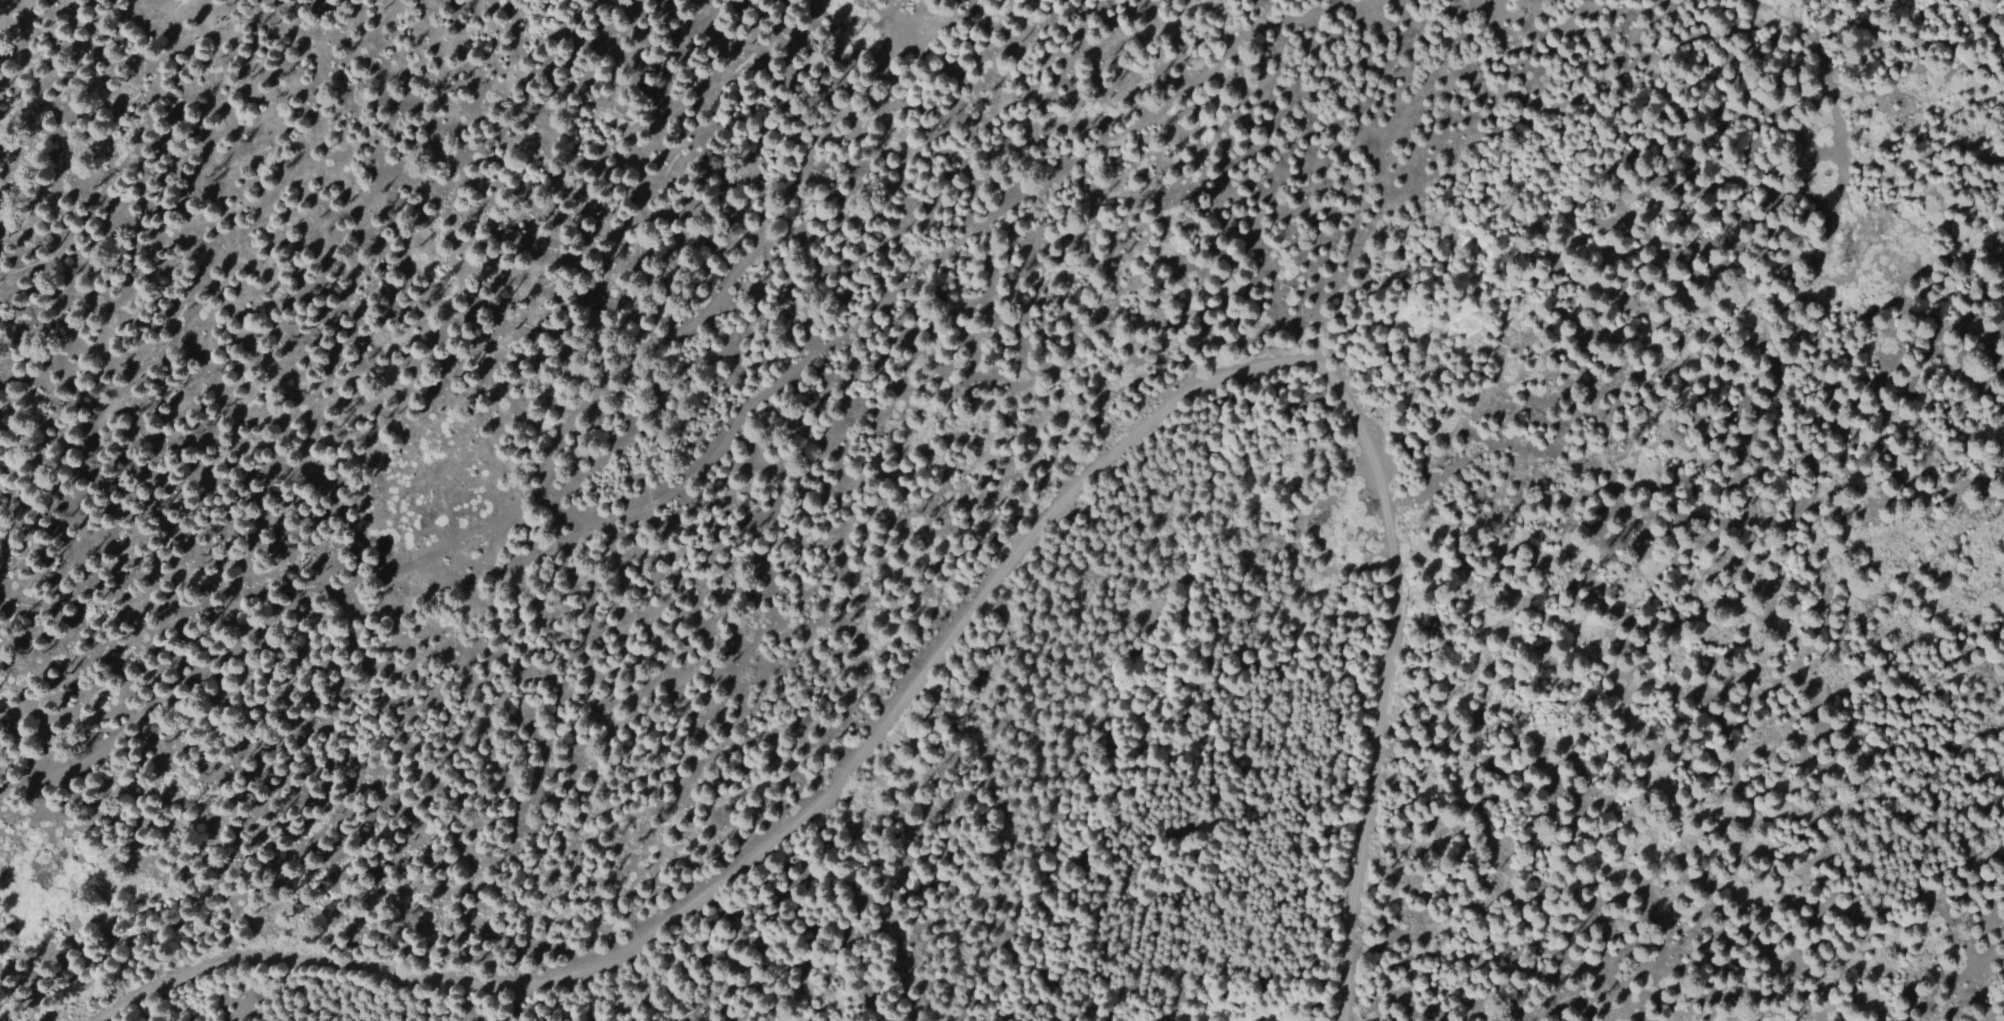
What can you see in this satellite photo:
road: (1000, 587)

